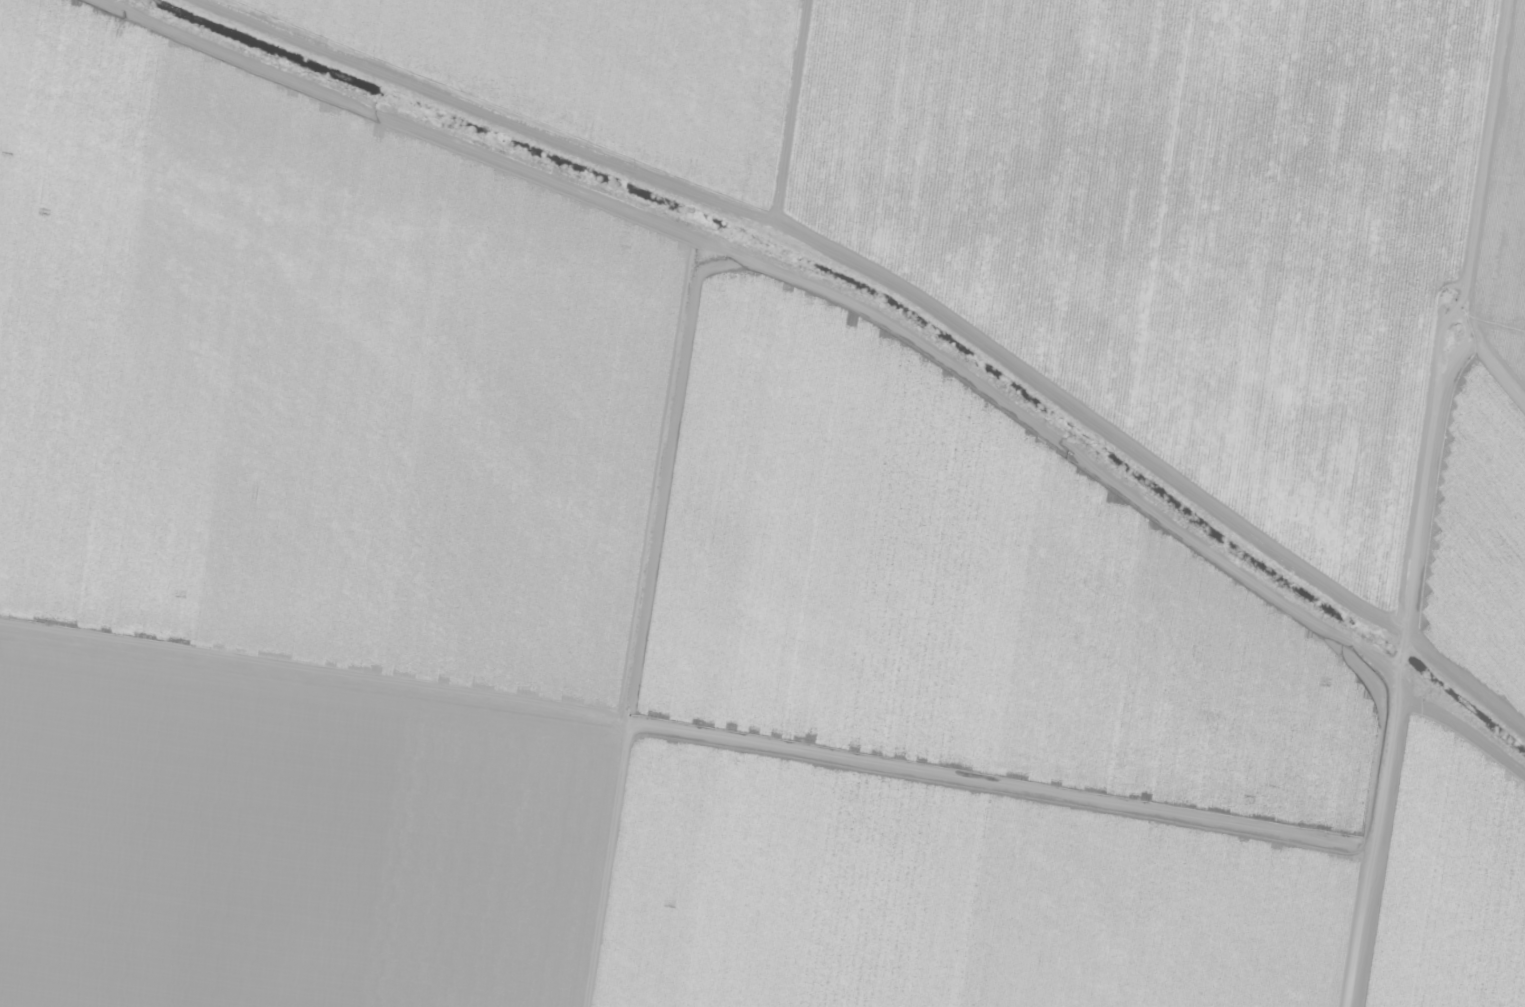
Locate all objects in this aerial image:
river: (881, 302)
road: (1472, 469)

